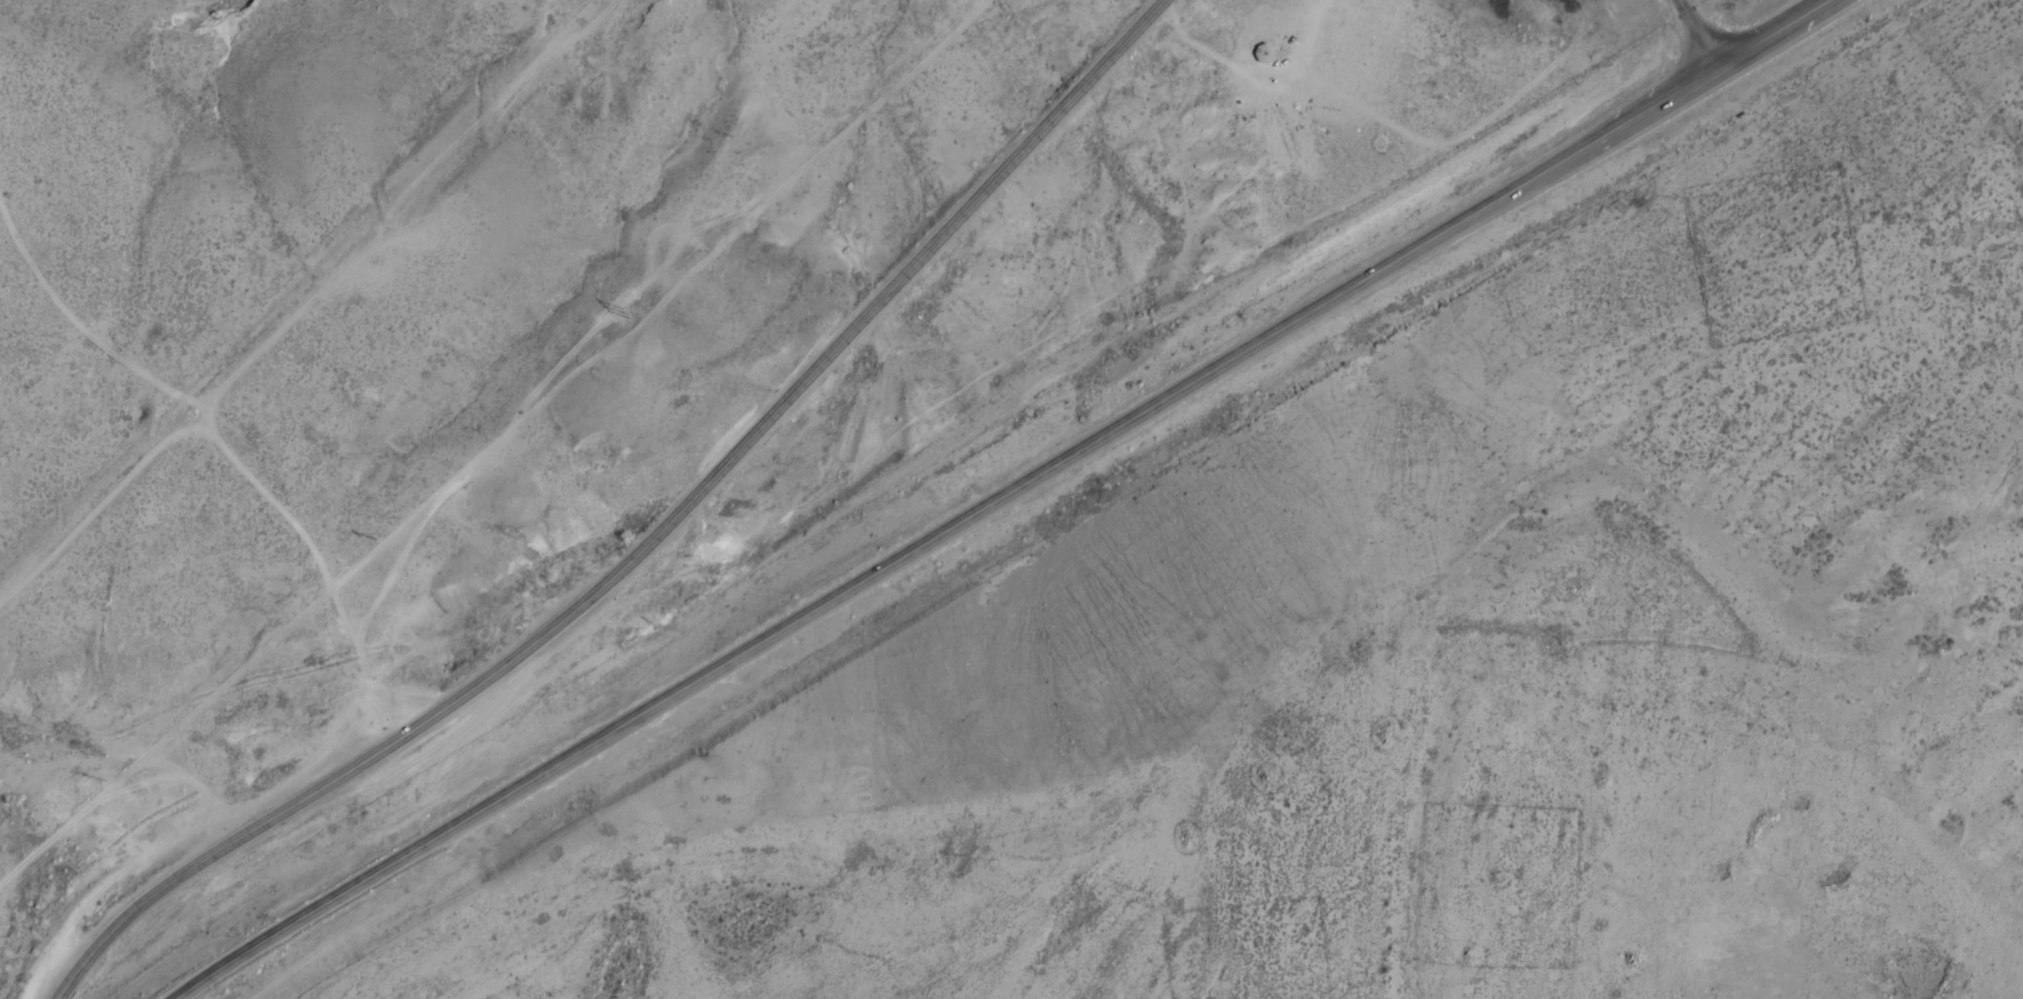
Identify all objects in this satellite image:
road: (1698, 33)
building: (1266, 52)
road: (999, 496)
road: (647, 543)

